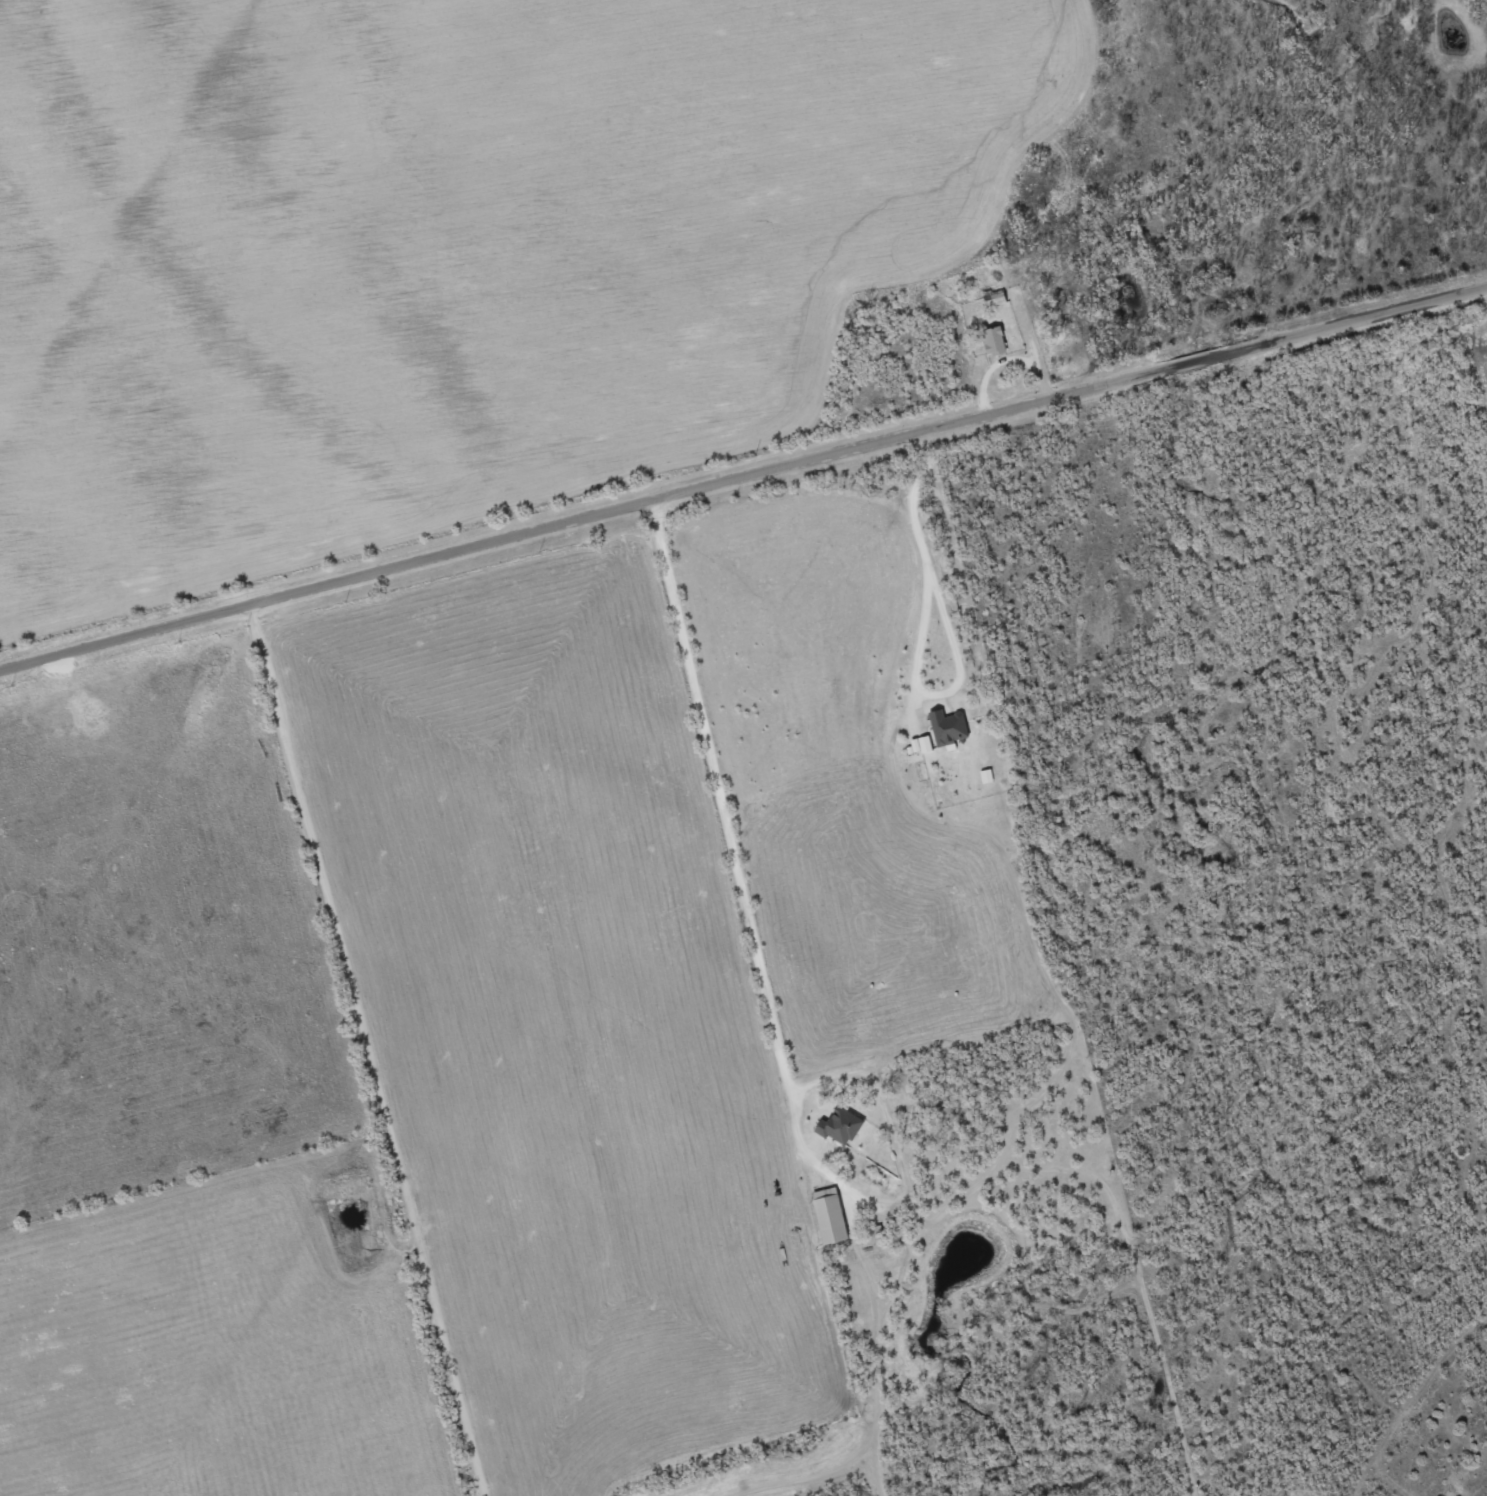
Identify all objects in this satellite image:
road: (742, 477)
building: (948, 727)
building: (925, 744)
building: (986, 776)
road: (765, 990)
road: (369, 1050)
building: (840, 1126)
building: (830, 1215)

